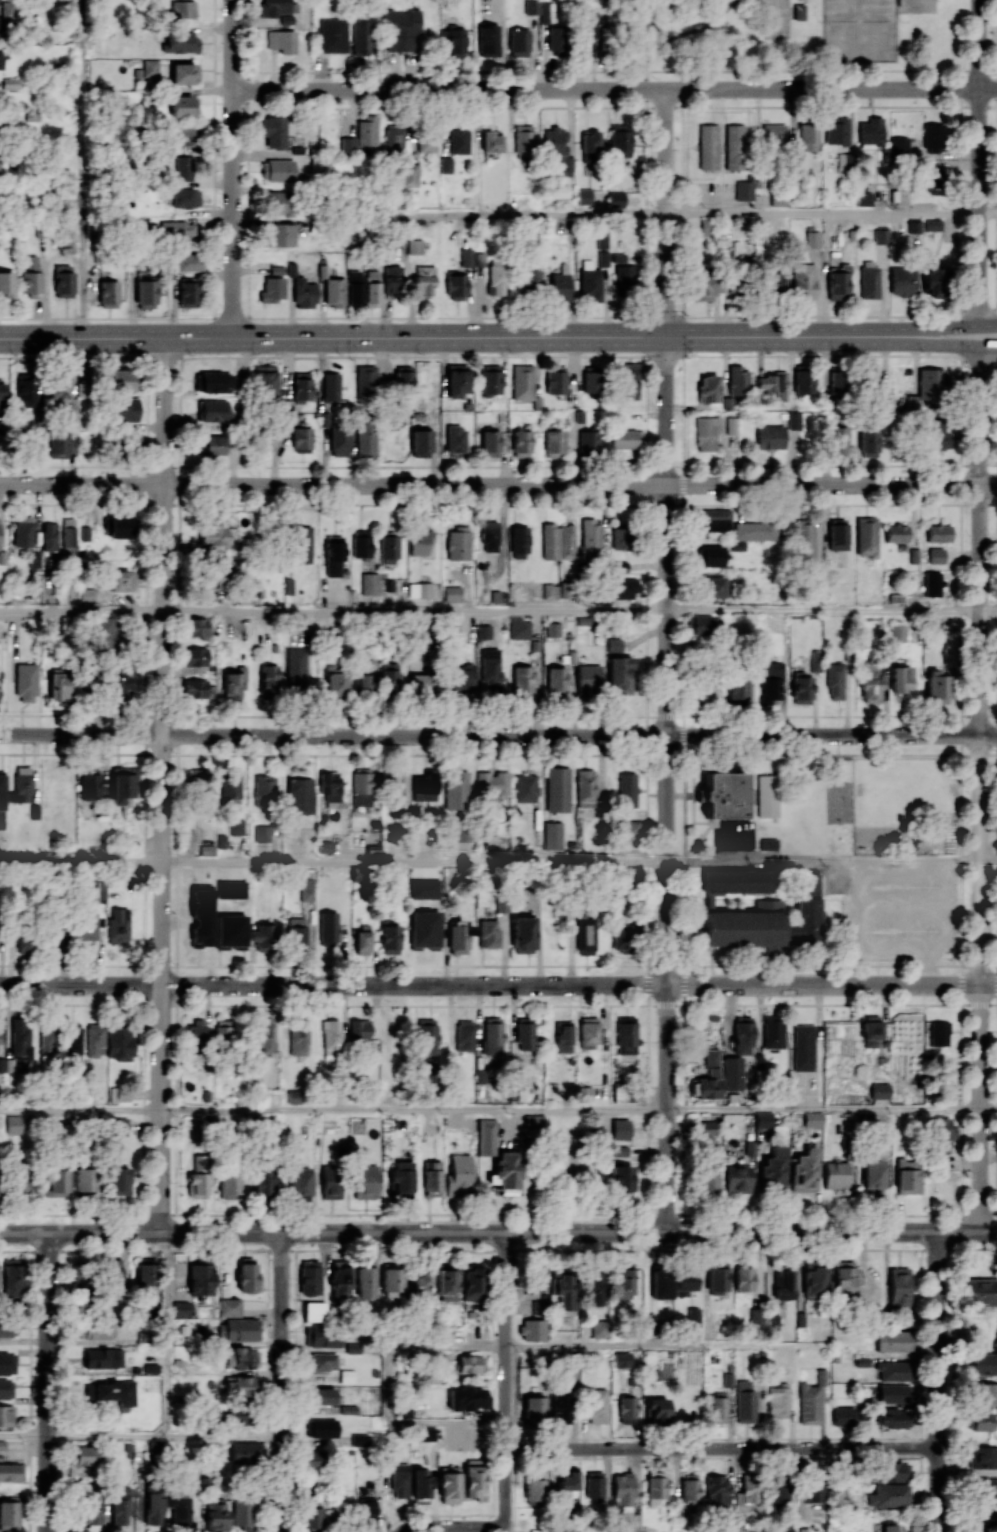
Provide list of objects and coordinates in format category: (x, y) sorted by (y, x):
park: (917, 6)
building: (277, 7)
building: (536, 7)
building: (182, 9)
building: (8, 10)
building: (801, 12)
park: (777, 19)
building: (401, 29)
building: (590, 29)
park: (860, 32)
road: (688, 34)
building: (332, 35)
building: (360, 38)
building: (552, 39)
park: (789, 39)
building: (282, 40)
building: (488, 40)
building: (178, 41)
building: (456, 41)
building: (518, 42)
building: (2, 58)
building: (149, 68)
road: (813, 71)
road: (988, 71)
road: (440, 72)
building: (184, 73)
road: (646, 80)
road: (614, 89)
building: (184, 106)
building: (275, 130)
building: (367, 131)
building: (837, 131)
building: (871, 132)
building: (185, 134)
building: (773, 134)
building: (808, 136)
building: (933, 137)
building: (427, 139)
building: (523, 139)
building: (459, 141)
building: (491, 141)
building: (554, 141)
building: (620, 141)
building: (348, 142)
building: (393, 143)
building: (899, 145)
building: (734, 146)
building: (708, 147)
building: (590, 149)
road: (980, 162)
building: (445, 165)
building: (320, 166)
building: (184, 168)
road: (233, 168)
road: (82, 169)
building: (280, 170)
building: (409, 174)
building: (931, 177)
building: (744, 190)
building: (584, 196)
building: (186, 198)
building: (616, 198)
building: (278, 203)
road: (666, 213)
road: (546, 214)
road: (823, 215)
road: (988, 215)
building: (933, 224)
building: (913, 225)
building: (177, 230)
building: (280, 234)
building: (880, 235)
building: (601, 239)
building: (812, 239)
building: (415, 246)
building: (466, 257)
building: (188, 262)
building: (32, 276)
building: (496, 279)
building: (531, 279)
building: (625, 279)
building: (424, 280)
building: (64, 281)
building: (393, 281)
building: (589, 281)
building: (803, 281)
building: (901, 281)
building: (933, 281)
building: (869, 282)
building: (6, 283)
building: (773, 283)
building: (455, 285)
building: (701, 286)
building: (560, 287)
building: (354, 288)
building: (372, 288)
building: (272, 289)
building: (333, 291)
building: (108, 293)
building: (146, 293)
building: (188, 294)
building: (304, 294)
road: (940, 329)
road: (441, 338)
traffic signals: (665, 338)
road: (940, 343)
building: (403, 377)
building: (872, 377)
building: (490, 379)
building: (120, 380)
building: (265, 381)
building: (365, 381)
building: (522, 381)
building: (589, 381)
building: (628, 381)
building: (738, 381)
building: (803, 381)
building: (830, 381)
building: (215, 382)
building: (555, 382)
building: (931, 383)
building: (773, 384)
building: (462, 385)
building: (302, 386)
building: (331, 386)
building: (709, 387)
building: (1, 389)
building: (26, 389)
building: (60, 394)
building: (912, 402)
building: (126, 410)
building: (212, 410)
building: (794, 420)
building: (731, 425)
building: (707, 432)
building: (936, 433)
building: (442, 435)
building: (770, 437)
building: (365, 438)
building: (625, 438)
building: (302, 439)
building: (456, 439)
building: (340, 440)
building: (420, 441)
building: (588, 441)
building: (838, 441)
building: (489, 443)
building: (521, 443)
building: (554, 443)
building: (868, 443)
building: (58, 444)
building: (214, 444)
road: (498, 485)
building: (122, 526)
building: (755, 529)
building: (23, 530)
building: (591, 533)
building: (896, 533)
building: (938, 533)
building: (837, 534)
building: (213, 535)
building: (489, 535)
building: (50, 536)
building: (68, 536)
building: (866, 536)
building: (620, 537)
building: (804, 537)
building: (420, 540)
building: (518, 541)
building: (558, 541)
building: (361, 543)
building: (457, 543)
building: (303, 545)
building: (388, 549)
building: (334, 555)
building: (712, 556)
building: (216, 578)
building: (121, 581)
building: (369, 583)
building: (933, 584)
building: (288, 585)
building: (713, 586)
building: (622, 588)
building: (420, 590)
building: (554, 591)
building: (452, 594)
building: (91, 595)
road: (823, 610)
road: (988, 610)
road: (81, 611)
road: (414, 611)
building: (937, 623)
building: (706, 624)
building: (195, 626)
building: (519, 628)
building: (552, 629)
building: (483, 631)
building: (898, 633)
building: (195, 656)
building: (815, 663)
building: (296, 669)
building: (490, 669)
building: (619, 675)
building: (388, 676)
building: (458, 676)
building: (269, 678)
building: (901, 678)
building: (556, 679)
building: (588, 679)
building: (835, 680)
building: (335, 681)
building: (522, 681)
building: (26, 682)
building: (771, 682)
building: (234, 683)
building: (363, 683)
building: (424, 683)
building: (871, 684)
building: (59, 685)
building: (937, 687)
building: (195, 688)
building: (801, 688)
building: (737, 691)
building: (704, 692)
road: (498, 733)
building: (199, 782)
building: (23, 783)
building: (88, 783)
building: (122, 783)
building: (491, 783)
building: (398, 784)
road: (666, 784)
building: (231, 785)
building: (330, 785)
road: (161, 786)
building: (424, 786)
building: (525, 787)
building: (361, 788)
building: (584, 788)
road: (980, 788)
building: (557, 789)
building: (264, 790)
building: (627, 790)
building: (456, 791)
building: (300, 795)
building: (723, 795)
building: (767, 795)
building: (335, 804)
building: (237, 827)
building: (627, 830)
building: (750, 832)
building: (262, 833)
building: (552, 835)
building: (325, 846)
road: (80, 860)
road: (988, 861)
road: (414, 862)
road: (823, 862)
building: (737, 880)
building: (231, 889)
building: (306, 889)
building: (95, 891)
building: (767, 920)
building: (86, 924)
building: (118, 926)
building: (328, 928)
building: (425, 929)
building: (230, 930)
building: (296, 932)
building: (487, 933)
building: (55, 934)
building: (522, 934)
building: (197, 936)
building: (263, 936)
building: (585, 936)
building: (390, 937)
building: (458, 937)
building: (626, 937)
building: (362, 939)
building: (24, 944)
road: (498, 983)
building: (223, 1030)
building: (360, 1030)
building: (871, 1030)
building: (197, 1031)
building: (589, 1032)
building: (773, 1032)
building: (939, 1033)
building: (19, 1034)
building: (265, 1034)
building: (525, 1034)
building: (743, 1034)
building: (298, 1035)
building: (464, 1035)
building: (492, 1035)
building: (626, 1035)
building: (426, 1036)
building: (563, 1036)
building: (94, 1038)
building: (331, 1039)
building: (72, 1040)
building: (119, 1043)
building: (803, 1047)
building: (733, 1074)
building: (709, 1077)
building: (880, 1091)
building: (119, 1094)
building: (624, 1094)
road: (823, 1109)
road: (988, 1109)
road: (80, 1110)
road: (413, 1110)
building: (764, 1119)
building: (813, 1119)
building: (533, 1121)
building: (14, 1124)
building: (119, 1126)
building: (620, 1129)
building: (63, 1131)
building: (708, 1132)
building: (945, 1132)
building: (620, 1151)
building: (499, 1159)
park: (570, 1162)
building: (774, 1168)
building: (806, 1171)
building: (837, 1173)
building: (458, 1175)
building: (707, 1175)
building: (873, 1175)
building: (569, 1176)
building: (907, 1176)
building: (621, 1177)
building: (432, 1178)
building: (738, 1178)
building: (85, 1179)
building: (400, 1179)
building: (20, 1180)
building: (120, 1180)
building: (198, 1181)
building: (331, 1181)
building: (365, 1181)
building: (55, 1182)
building: (229, 1184)
building: (300, 1184)
road: (498, 1232)
road: (434, 1253)
building: (144, 1272)
building: (117, 1275)
building: (246, 1276)
building: (310, 1276)
building: (13, 1277)
building: (201, 1277)
building: (540, 1277)
building: (716, 1277)
building: (365, 1278)
building: (392, 1278)
building: (743, 1278)
building: (845, 1278)
building: (340, 1279)
building: (81, 1280)
building: (420, 1280)
building: (814, 1280)
building: (446, 1281)
building: (623, 1281)
building: (661, 1282)
building: (472, 1283)
building: (783, 1283)
building: (899, 1286)
building: (594, 1287)
building: (564, 1288)
building: (981, 1291)
building: (229, 1307)
building: (182, 1308)
building: (314, 1311)
building: (757, 1314)
building: (8, 1328)
building: (601, 1328)
building: (99, 1329)
building: (242, 1329)
building: (533, 1329)
road: (166, 1335)
building: (324, 1336)
building: (892, 1341)
road: (624, 1347)
road: (907, 1355)
building: (862, 1356)
building: (103, 1358)
building: (242, 1358)
building: (622, 1360)
building: (323, 1361)
building: (7, 1363)
building: (471, 1364)
building: (984, 1364)
building: (892, 1371)
road: (506, 1379)
road: (937, 1381)
road: (282, 1382)
road: (48, 1383)
building: (240, 1385)
road: (389, 1385)
building: (6, 1388)
building: (115, 1391)
building: (895, 1393)
building: (985, 1393)
building: (323, 1395)
building: (466, 1397)
building: (778, 1401)
building: (745, 1402)
building: (809, 1404)
building: (597, 1406)
building: (561, 1408)
building: (717, 1408)
building: (348, 1409)
building: (405, 1409)
building: (535, 1409)
building: (627, 1409)
building: (657, 1410)
building: (6, 1415)
building: (239, 1415)
building: (843, 1416)
building: (893, 1418)
building: (982, 1421)
building: (321, 1428)
building: (427, 1433)
road: (24, 1435)
road: (107, 1436)
road: (224, 1436)
building: (359, 1439)
building: (156, 1448)
road: (721, 1448)
building: (246, 1452)
building: (87, 1454)
building: (983, 1457)
building: (312, 1459)
building: (9, 1472)
building: (893, 1472)
building: (474, 1478)
building: (569, 1478)
building: (398, 1479)
building: (449, 1484)
building: (594, 1485)
building: (420, 1486)
building: (988, 1487)
building: (534, 1488)
building: (655, 1488)
building: (690, 1488)
building: (779, 1489)
building: (814, 1490)
building: (623, 1491)
building: (717, 1491)
building: (748, 1491)
building: (888, 1495)
building: (119, 1505)
building: (153, 1508)
building: (89, 1509)
building: (339, 1509)
building: (180, 1510)
building: (9, 1511)
building: (366, 1512)
building: (242, 1513)
building: (216, 1516)
building: (311, 1517)
building: (985, 1518)
building: (634, 1522)
road: (452, 1526)
building: (891, 1528)

